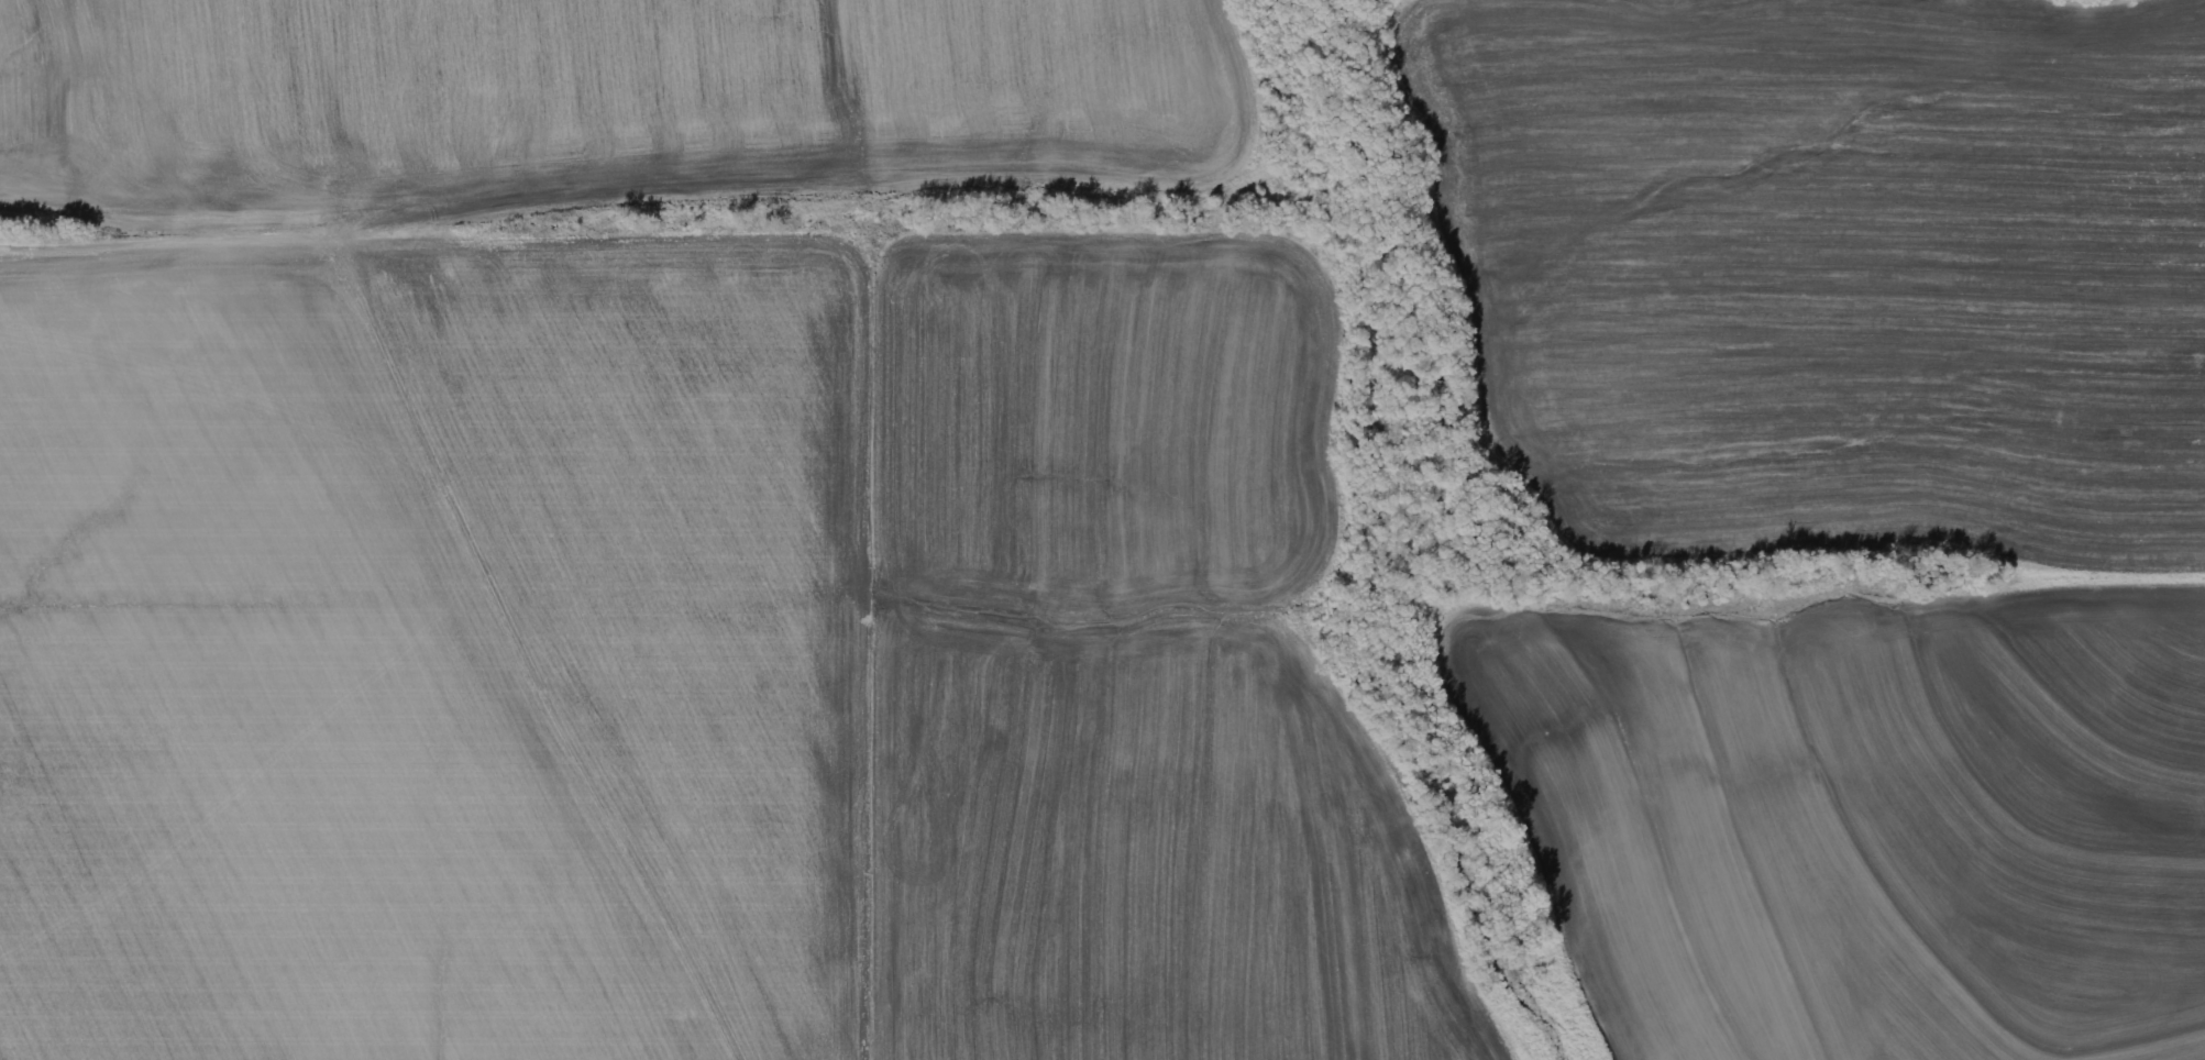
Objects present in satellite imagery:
road: (407, 236)

